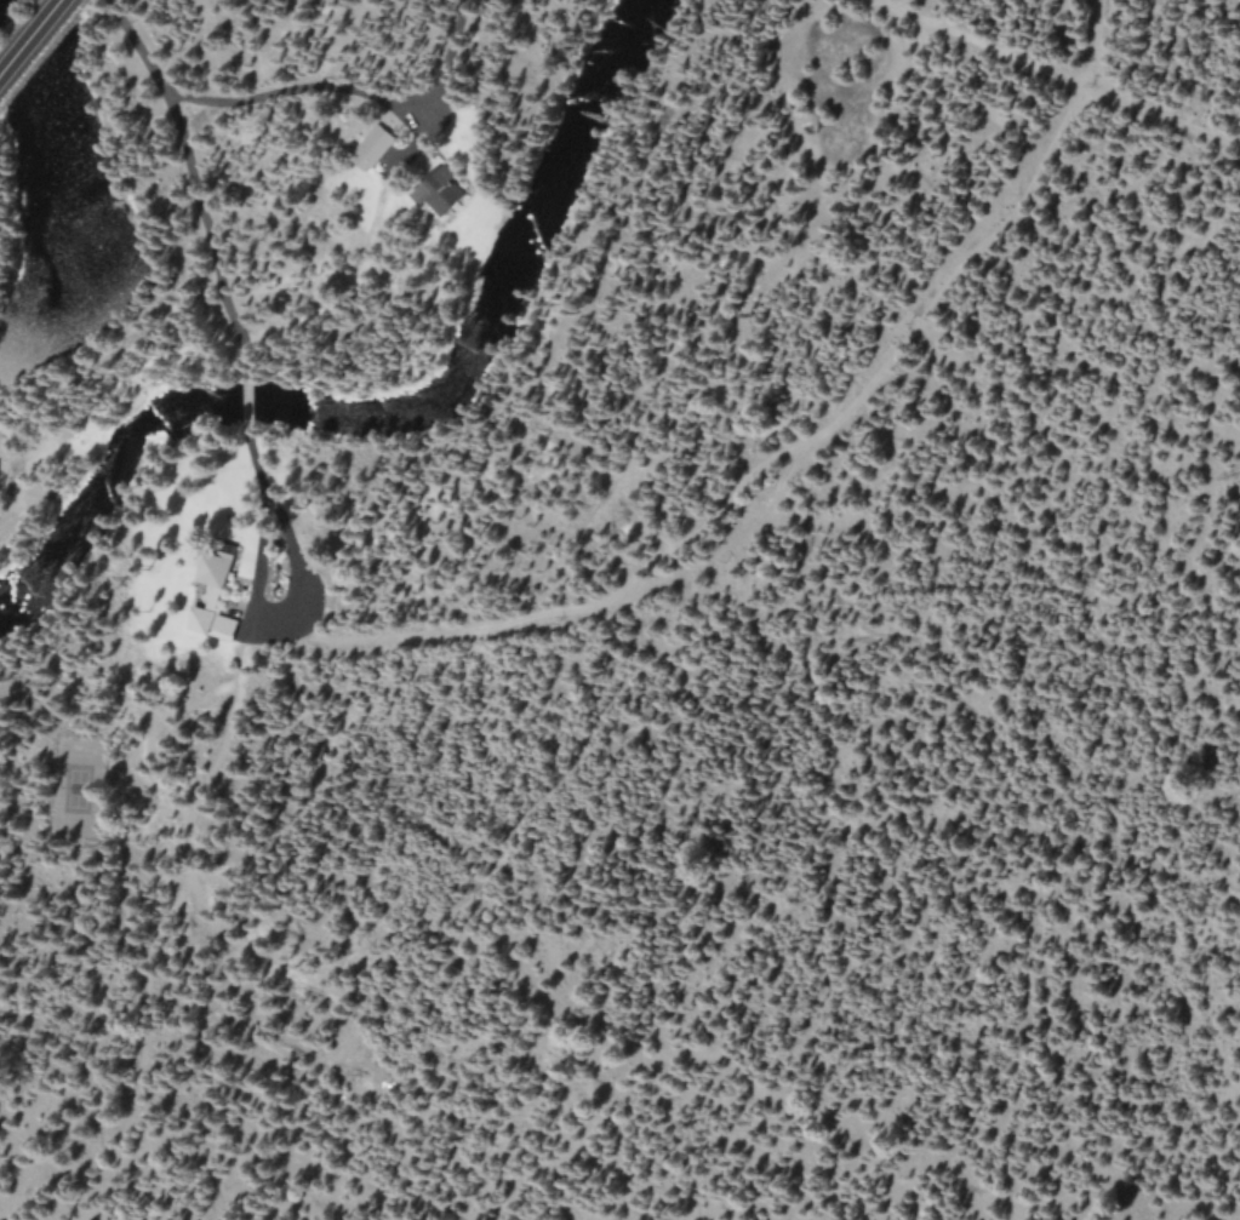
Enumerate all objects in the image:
road: (32, 39)
road: (350, 92)
building: (370, 148)
road: (200, 194)
river: (388, 409)
road: (250, 422)
building: (212, 574)
road: (256, 598)
building: (211, 623)
road: (555, 628)

